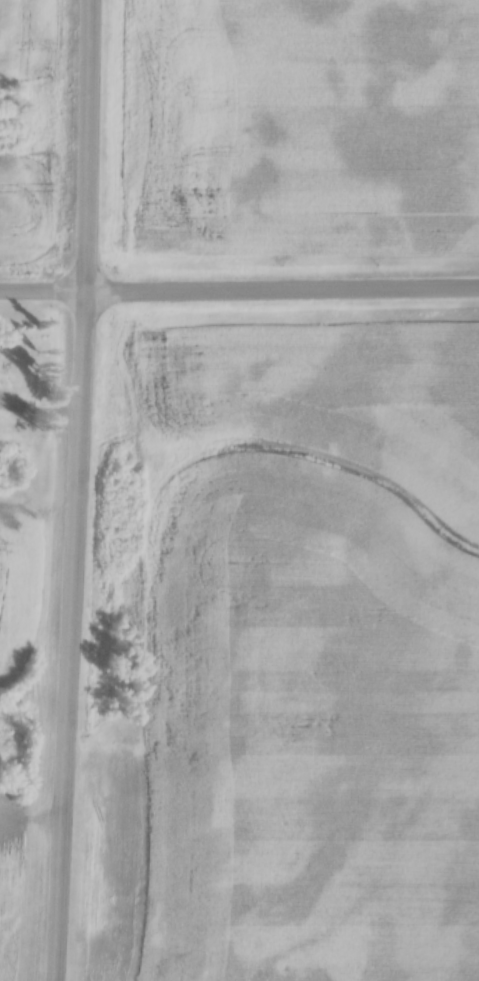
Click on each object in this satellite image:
road: (239, 284)
road: (82, 490)

